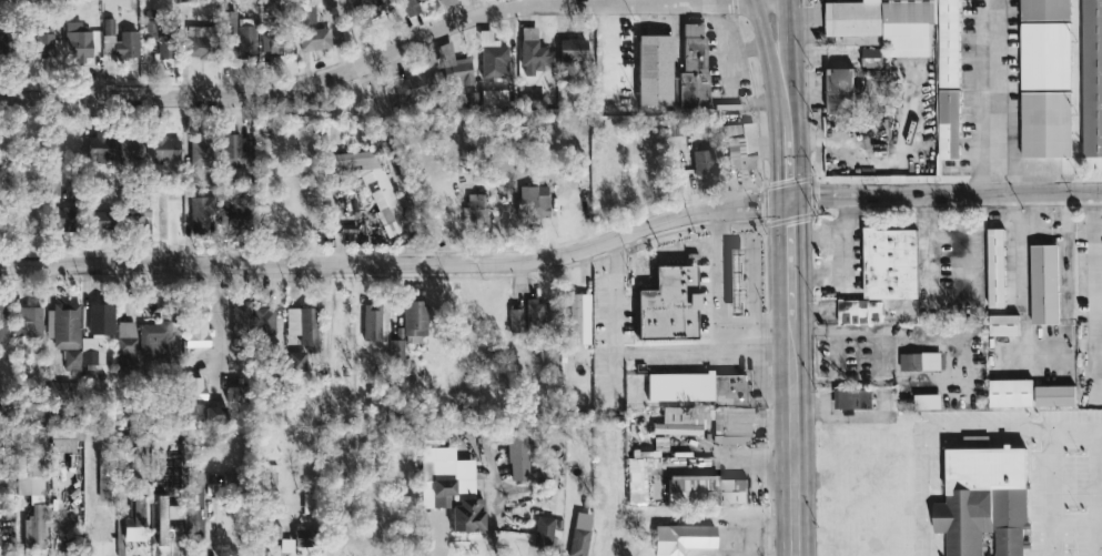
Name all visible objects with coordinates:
building: (446, 2)
road: (767, 4)
road: (772, 4)
building: (410, 7)
building: (1044, 10)
building: (304, 13)
building: (882, 24)
building: (149, 29)
building: (243, 38)
building: (313, 39)
building: (75, 41)
building: (115, 41)
building: (273, 42)
building: (41, 43)
building: (948, 43)
building: (162, 44)
building: (195, 47)
building: (0, 48)
building: (570, 49)
building: (529, 51)
road: (386, 53)
building: (1044, 55)
building: (491, 57)
road: (610, 58)
building: (871, 58)
building: (453, 65)
road: (780, 67)
building: (691, 69)
building: (653, 70)
building: (1092, 79)
building: (838, 91)
road: (991, 97)
building: (492, 98)
building: (948, 124)
building: (1045, 124)
building: (738, 146)
building: (98, 148)
building: (130, 150)
building: (163, 150)
building: (198, 152)
building: (232, 152)
road: (789, 162)
building: (701, 164)
road: (946, 193)
building: (383, 200)
building: (532, 200)
traffic signals: (790, 200)
building: (474, 208)
building: (201, 212)
road: (1019, 215)
building: (64, 219)
building: (97, 219)
road: (1037, 223)
road: (819, 235)
road: (749, 243)
road: (927, 243)
road: (485, 247)
road: (442, 250)
road: (398, 251)
road: (336, 253)
road: (791, 259)
road: (845, 261)
road: (398, 263)
building: (995, 269)
building: (882, 274)
building: (734, 281)
building: (1043, 285)
road: (1096, 299)
road: (719, 302)
building: (668, 305)
building: (534, 312)
road: (1021, 315)
building: (578, 319)
building: (514, 320)
building: (26, 321)
building: (252, 321)
building: (370, 322)
building: (413, 322)
building: (1, 323)
road: (213, 324)
building: (302, 324)
building: (61, 325)
building: (1003, 325)
road: (615, 328)
building: (195, 330)
building: (95, 332)
building: (153, 337)
road: (726, 338)
building: (125, 340)
building: (394, 351)
road: (704, 354)
building: (71, 360)
building: (294, 361)
building: (920, 362)
building: (193, 388)
building: (232, 393)
building: (1010, 394)
building: (1054, 396)
building: (851, 398)
building: (927, 402)
building: (32, 410)
building: (192, 414)
building: (705, 414)
building: (214, 415)
road: (949, 427)
road: (793, 437)
building: (30, 438)
building: (62, 438)
building: (516, 456)
building: (633, 473)
building: (103, 482)
building: (448, 488)
building: (705, 489)
road: (1048, 491)
building: (194, 493)
building: (983, 501)
building: (30, 504)
building: (164, 517)
building: (132, 519)
road: (210, 520)
building: (194, 524)
building: (100, 529)
building: (542, 532)
building: (578, 534)
building: (303, 537)
building: (680, 538)

